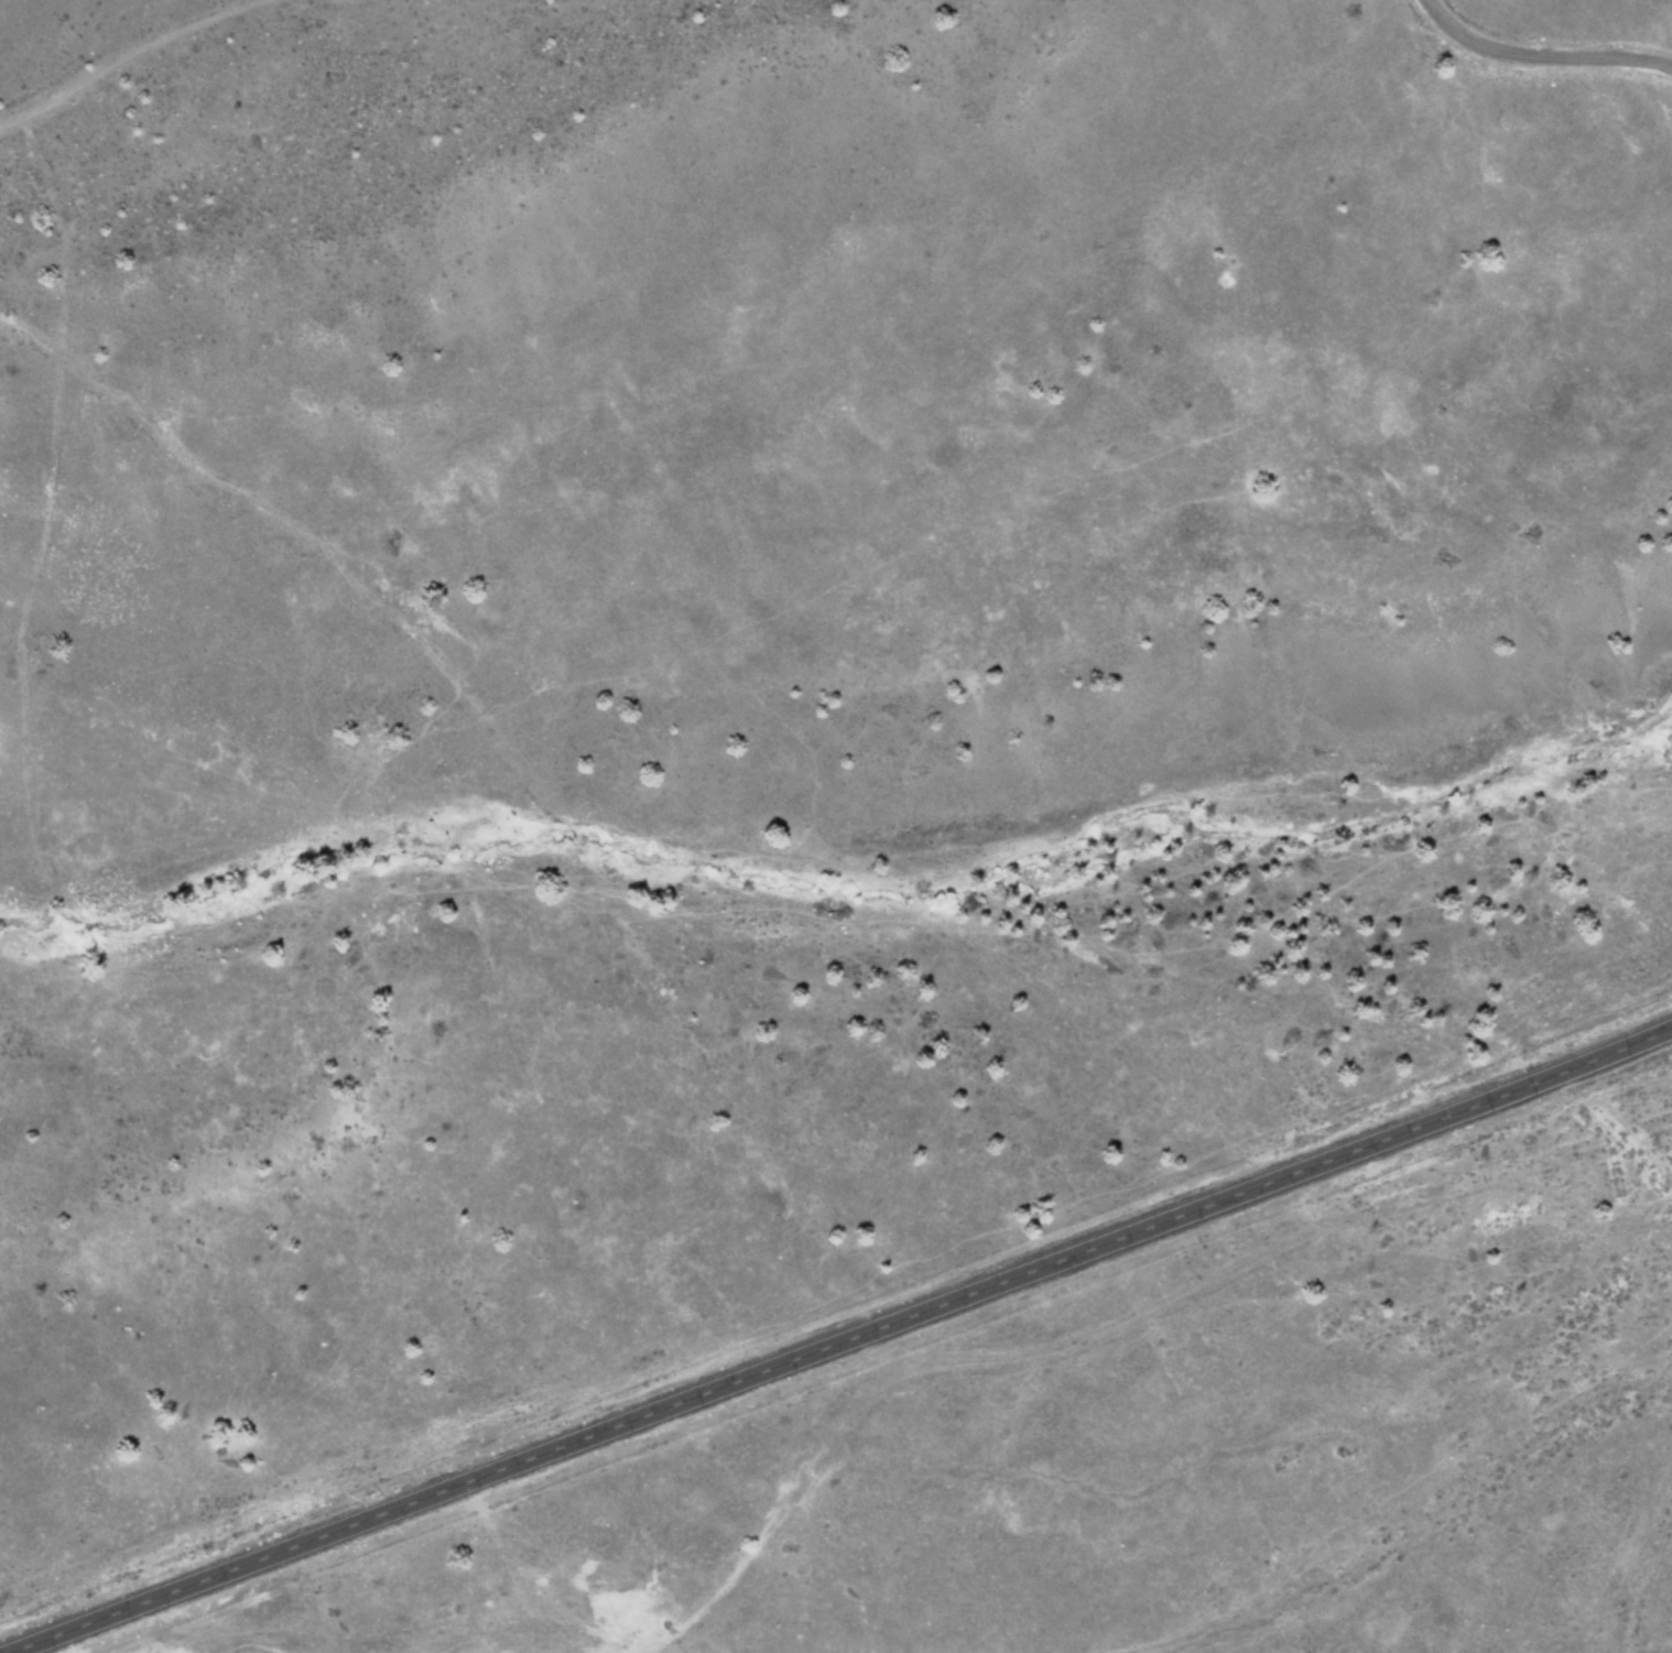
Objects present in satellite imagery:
road: (1539, 56)
road: (838, 1341)

